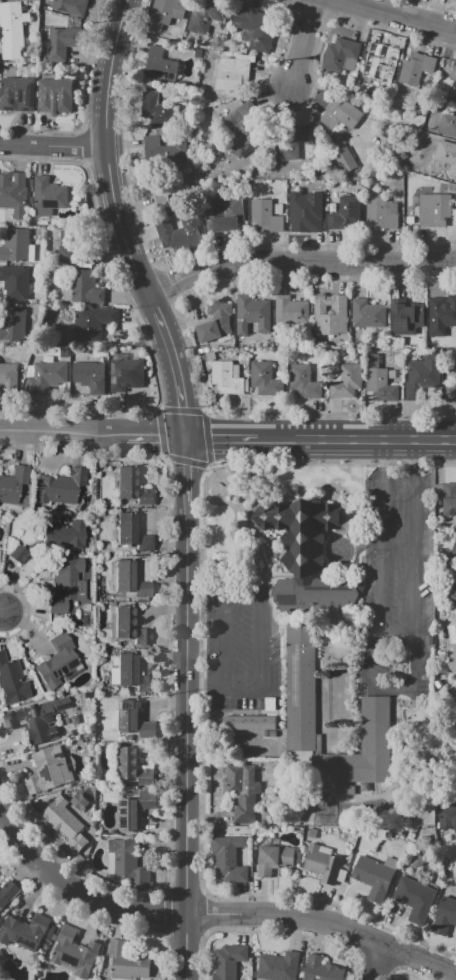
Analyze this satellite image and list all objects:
building: (70, 6)
building: (45, 7)
building: (208, 12)
building: (165, 13)
road: (400, 15)
building: (12, 29)
building: (254, 30)
building: (59, 42)
road: (303, 42)
building: (227, 47)
building: (339, 54)
building: (381, 63)
building: (160, 65)
building: (416, 68)
building: (453, 72)
building: (231, 74)
building: (14, 91)
building: (54, 95)
building: (157, 109)
building: (232, 113)
building: (339, 114)
building: (373, 119)
building: (447, 124)
building: (244, 138)
building: (341, 141)
building: (292, 144)
road: (53, 147)
building: (162, 151)
building: (446, 155)
road: (108, 156)
building: (403, 157)
building: (366, 185)
building: (303, 190)
building: (14, 194)
building: (288, 194)
building: (334, 194)
building: (47, 196)
building: (332, 208)
building: (278, 209)
building: (434, 209)
building: (226, 213)
building: (345, 213)
building: (381, 213)
building: (304, 215)
building: (266, 216)
building: (410, 219)
building: (208, 223)
building: (179, 232)
building: (42, 236)
building: (17, 246)
building: (55, 247)
building: (75, 254)
road: (298, 261)
building: (15, 282)
building: (82, 288)
building: (291, 311)
building: (252, 313)
building: (330, 314)
building: (367, 314)
building: (440, 316)
building: (407, 318)
building: (215, 322)
building: (62, 323)
building: (92, 323)
building: (13, 324)
building: (448, 330)
building: (224, 338)
building: (435, 341)
building: (207, 349)
building: (440, 351)
building: (65, 355)
building: (208, 355)
building: (47, 358)
building: (417, 358)
building: (338, 368)
building: (30, 370)
road: (177, 371)
building: (126, 373)
building: (391, 374)
building: (421, 375)
building: (90, 376)
building: (336, 376)
building: (45, 377)
building: (228, 378)
building: (263, 378)
building: (8, 379)
building: (378, 380)
building: (347, 381)
building: (303, 382)
building: (450, 392)
road: (94, 435)
traffic signals: (189, 439)
road: (223, 439)
road: (357, 439)
road: (414, 451)
road: (380, 452)
road: (189, 477)
building: (15, 486)
building: (60, 487)
building: (107, 487)
building: (133, 487)
building: (446, 497)
building: (450, 519)
building: (132, 532)
building: (65, 535)
road: (380, 547)
building: (452, 548)
road: (414, 552)
building: (17, 553)
building: (305, 556)
building: (127, 580)
parking lot: (395, 583)
building: (66, 584)
building: (453, 589)
road: (224, 592)
road: (0, 612)
building: (455, 624)
building: (129, 625)
building: (450, 628)
road: (396, 636)
road: (224, 639)
road: (260, 639)
building: (428, 641)
parking lot: (239, 647)
building: (58, 662)
building: (130, 673)
building: (12, 680)
building: (301, 686)
road: (383, 686)
road: (224, 687)
building: (88, 695)
building: (75, 700)
building: (270, 703)
building: (259, 704)
building: (133, 718)
building: (37, 720)
building: (248, 723)
building: (90, 734)
road: (188, 747)
building: (361, 747)
building: (133, 766)
building: (48, 771)
building: (450, 780)
building: (233, 790)
building: (135, 809)
building: (447, 817)
building: (263, 821)
building: (65, 823)
building: (217, 830)
building: (89, 832)
building: (311, 832)
building: (387, 834)
building: (266, 840)
building: (297, 856)
building: (227, 859)
building: (273, 859)
building: (125, 862)
building: (390, 862)
building: (321, 864)
road: (53, 873)
building: (372, 877)
building: (7, 893)
building: (414, 899)
road: (158, 913)
road: (214, 914)
building: (444, 916)
building: (24, 931)
road: (350, 932)
building: (72, 952)
building: (1, 955)
building: (126, 962)
building: (227, 962)
road: (379, 963)
building: (278, 966)
building: (321, 969)

